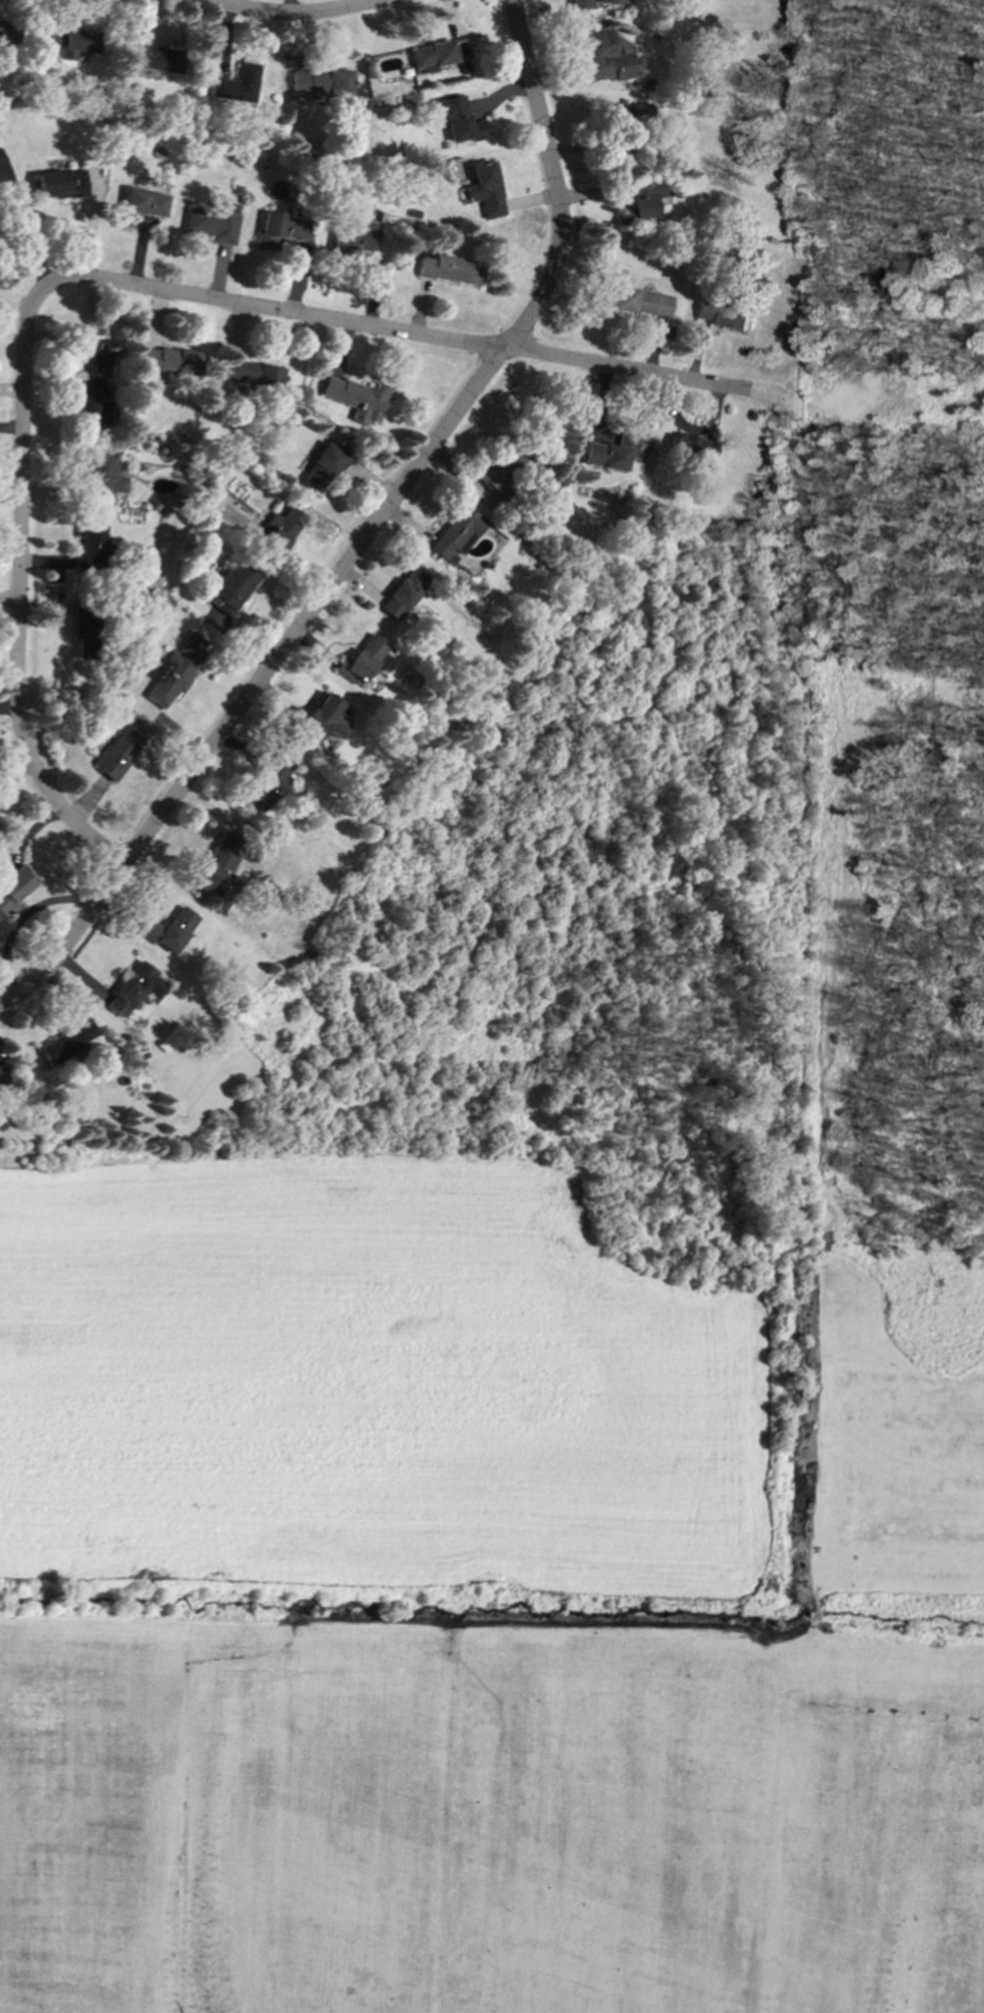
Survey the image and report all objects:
building: (590, 2)
road: (295, 13)
building: (6, 31)
building: (70, 41)
building: (430, 55)
building: (603, 56)
building: (154, 57)
building: (320, 81)
building: (236, 84)
building: (635, 110)
building: (456, 119)
building: (59, 183)
building: (484, 189)
building: (641, 200)
road: (25, 221)
building: (213, 222)
building: (279, 228)
building: (353, 235)
building: (448, 268)
building: (639, 301)
building: (722, 314)
road: (332, 321)
building: (169, 360)
building: (250, 373)
road: (680, 379)
building: (91, 380)
building: (355, 397)
building: (694, 448)
building: (610, 451)
building: (319, 467)
building: (500, 473)
building: (102, 477)
road: (373, 522)
building: (277, 529)
building: (455, 531)
building: (90, 545)
building: (228, 587)
road: (16, 590)
building: (402, 591)
building: (81, 631)
building: (361, 659)
building: (174, 669)
building: (321, 719)
building: (118, 750)
building: (265, 784)
building: (217, 863)
building: (12, 889)
building: (169, 929)
building: (133, 988)
road: (11, 999)
building: (67, 1040)
building: (2, 1077)
crop: (474, 1401)

